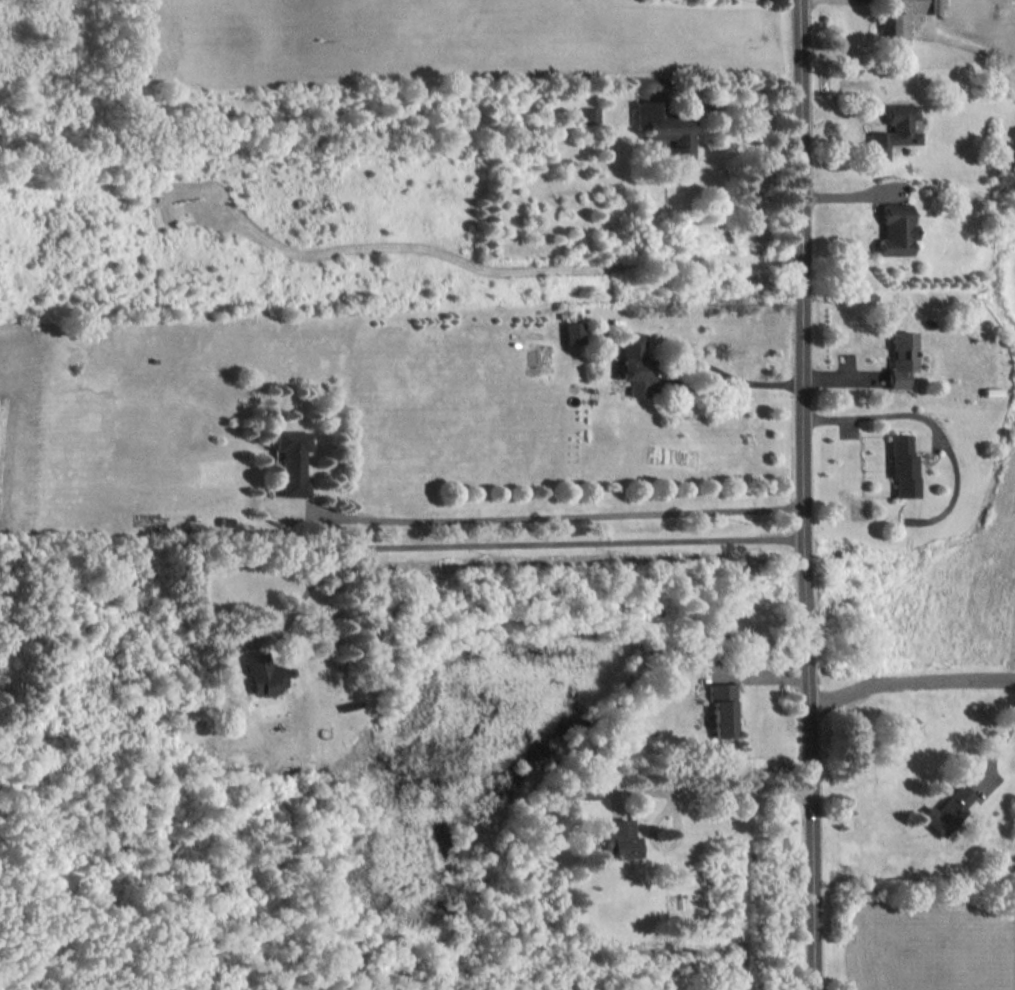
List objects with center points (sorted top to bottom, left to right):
building: (902, 14)
road: (719, 103)
building: (587, 115)
building: (893, 130)
building: (897, 230)
building: (573, 332)
building: (901, 358)
building: (635, 361)
road: (744, 381)
road: (932, 423)
building: (291, 461)
building: (903, 465)
road: (805, 495)
road: (558, 516)
road: (531, 543)
building: (223, 648)
building: (261, 674)
road: (909, 681)
building: (721, 709)
road: (998, 750)
building: (584, 790)
road: (711, 791)
building: (947, 809)
building: (616, 839)

